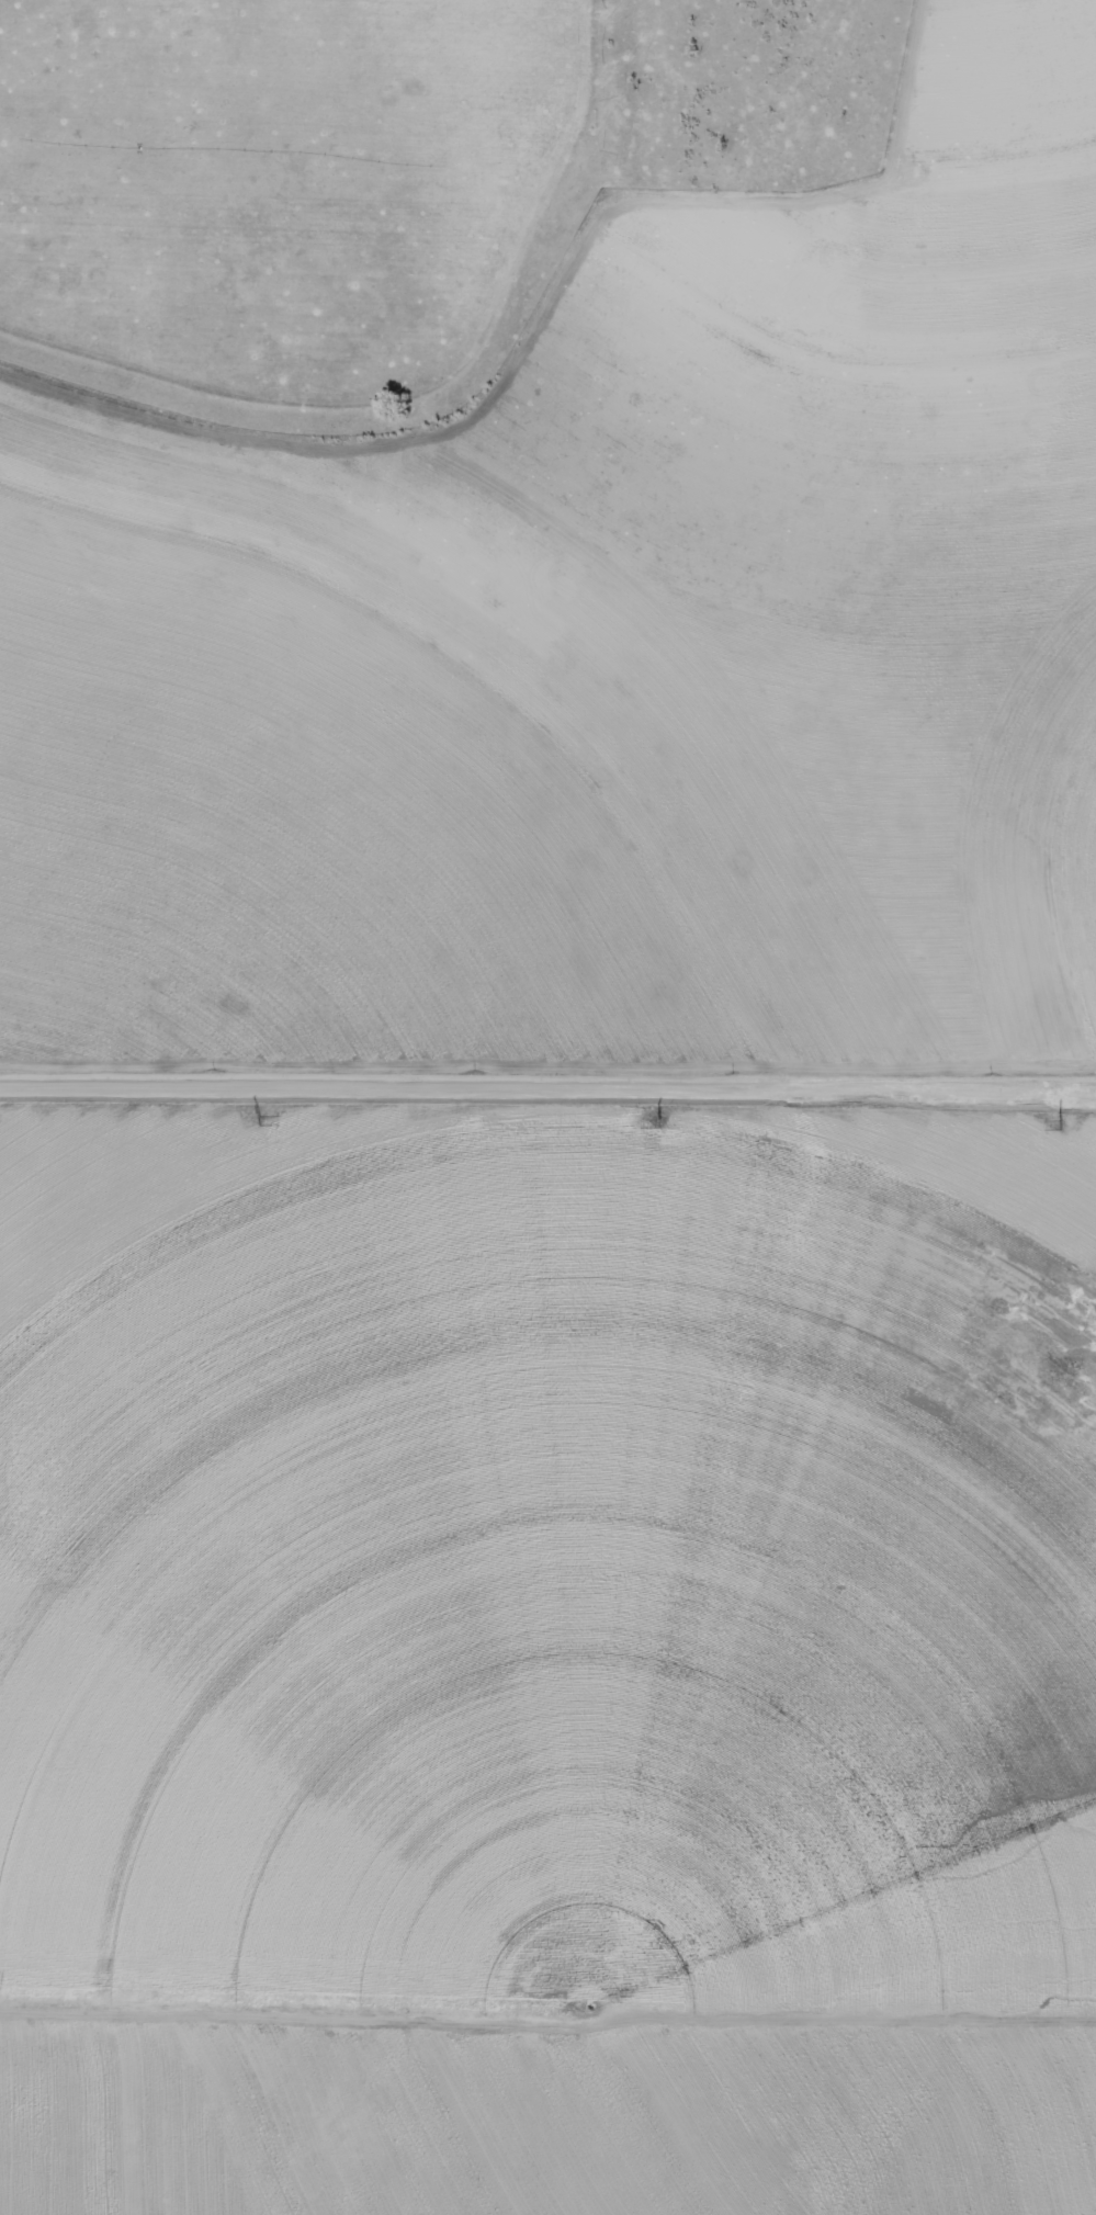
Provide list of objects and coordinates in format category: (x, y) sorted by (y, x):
road: (547, 1087)
power tower: (253, 1117)
power tower: (1058, 1128)
power tower: (657, 1129)

